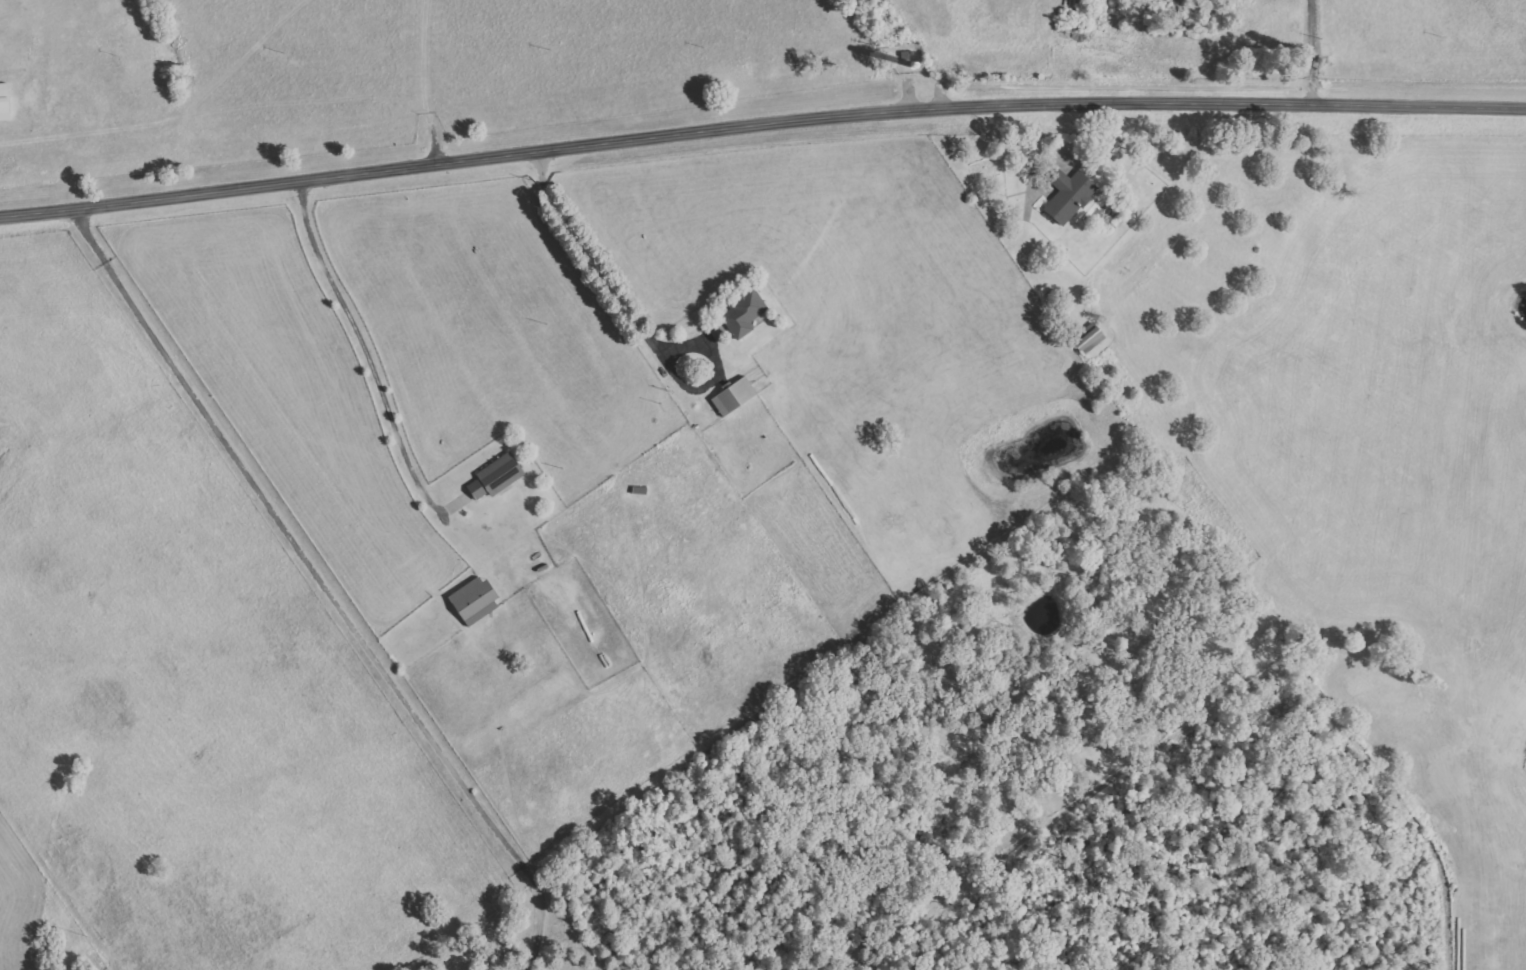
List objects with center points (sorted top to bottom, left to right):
road: (760, 117)
building: (1071, 195)
building: (746, 312)
building: (1091, 337)
building: (736, 395)
building: (498, 475)
building: (477, 600)

